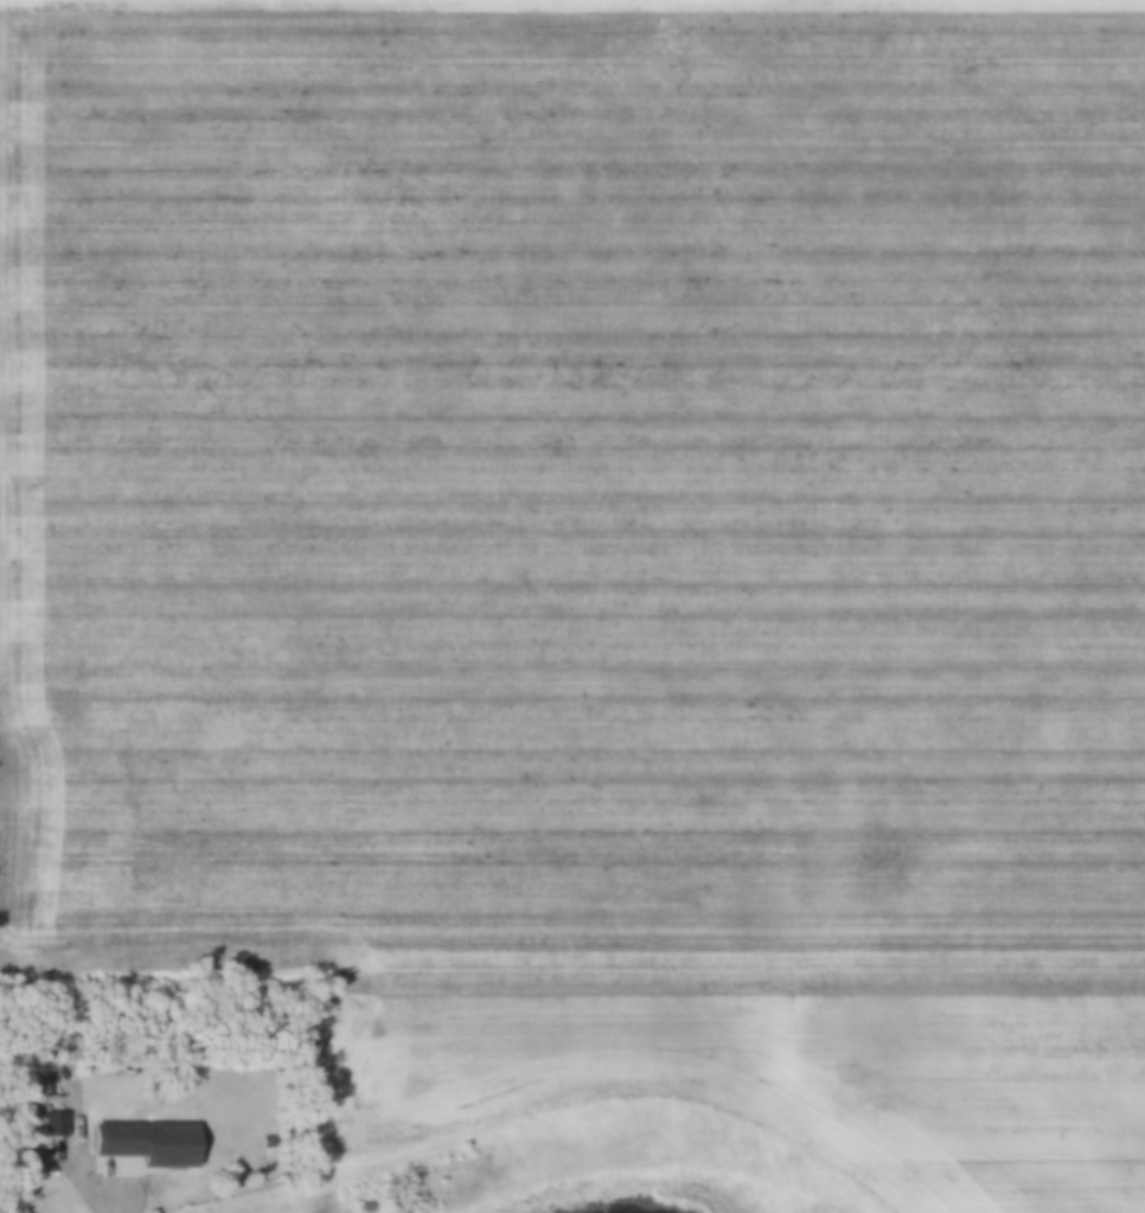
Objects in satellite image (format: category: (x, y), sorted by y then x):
building: (55, 1124)
building: (137, 1147)
road: (81, 1149)

